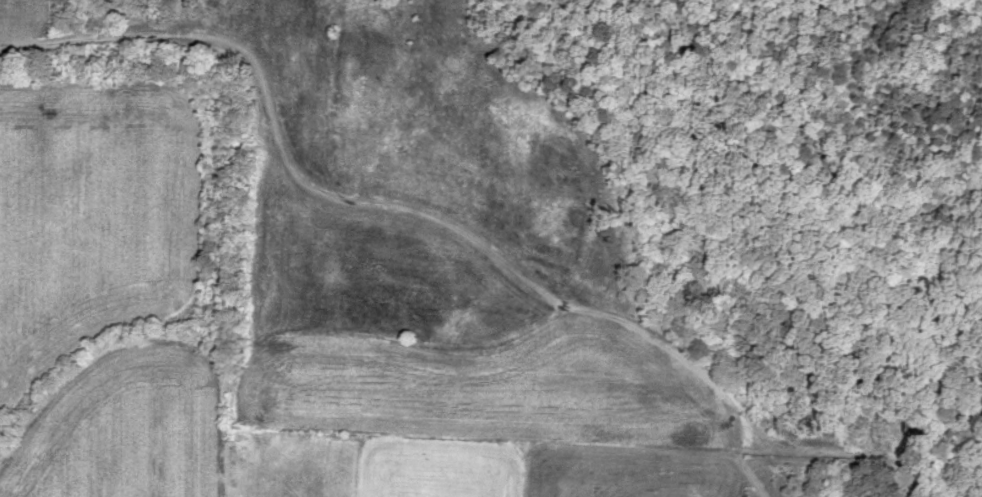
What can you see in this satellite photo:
road: (647, 266)
road: (101, 440)

